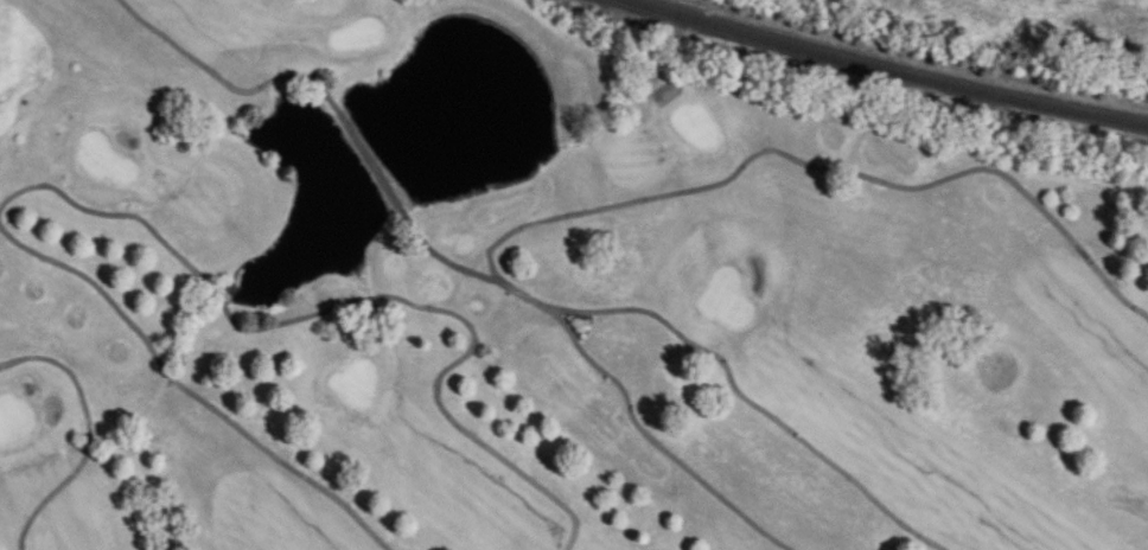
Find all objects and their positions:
railway: (903, 59)
road: (334, 107)
road: (570, 216)
road: (358, 301)
road: (187, 390)
road: (93, 433)
road: (653, 439)

